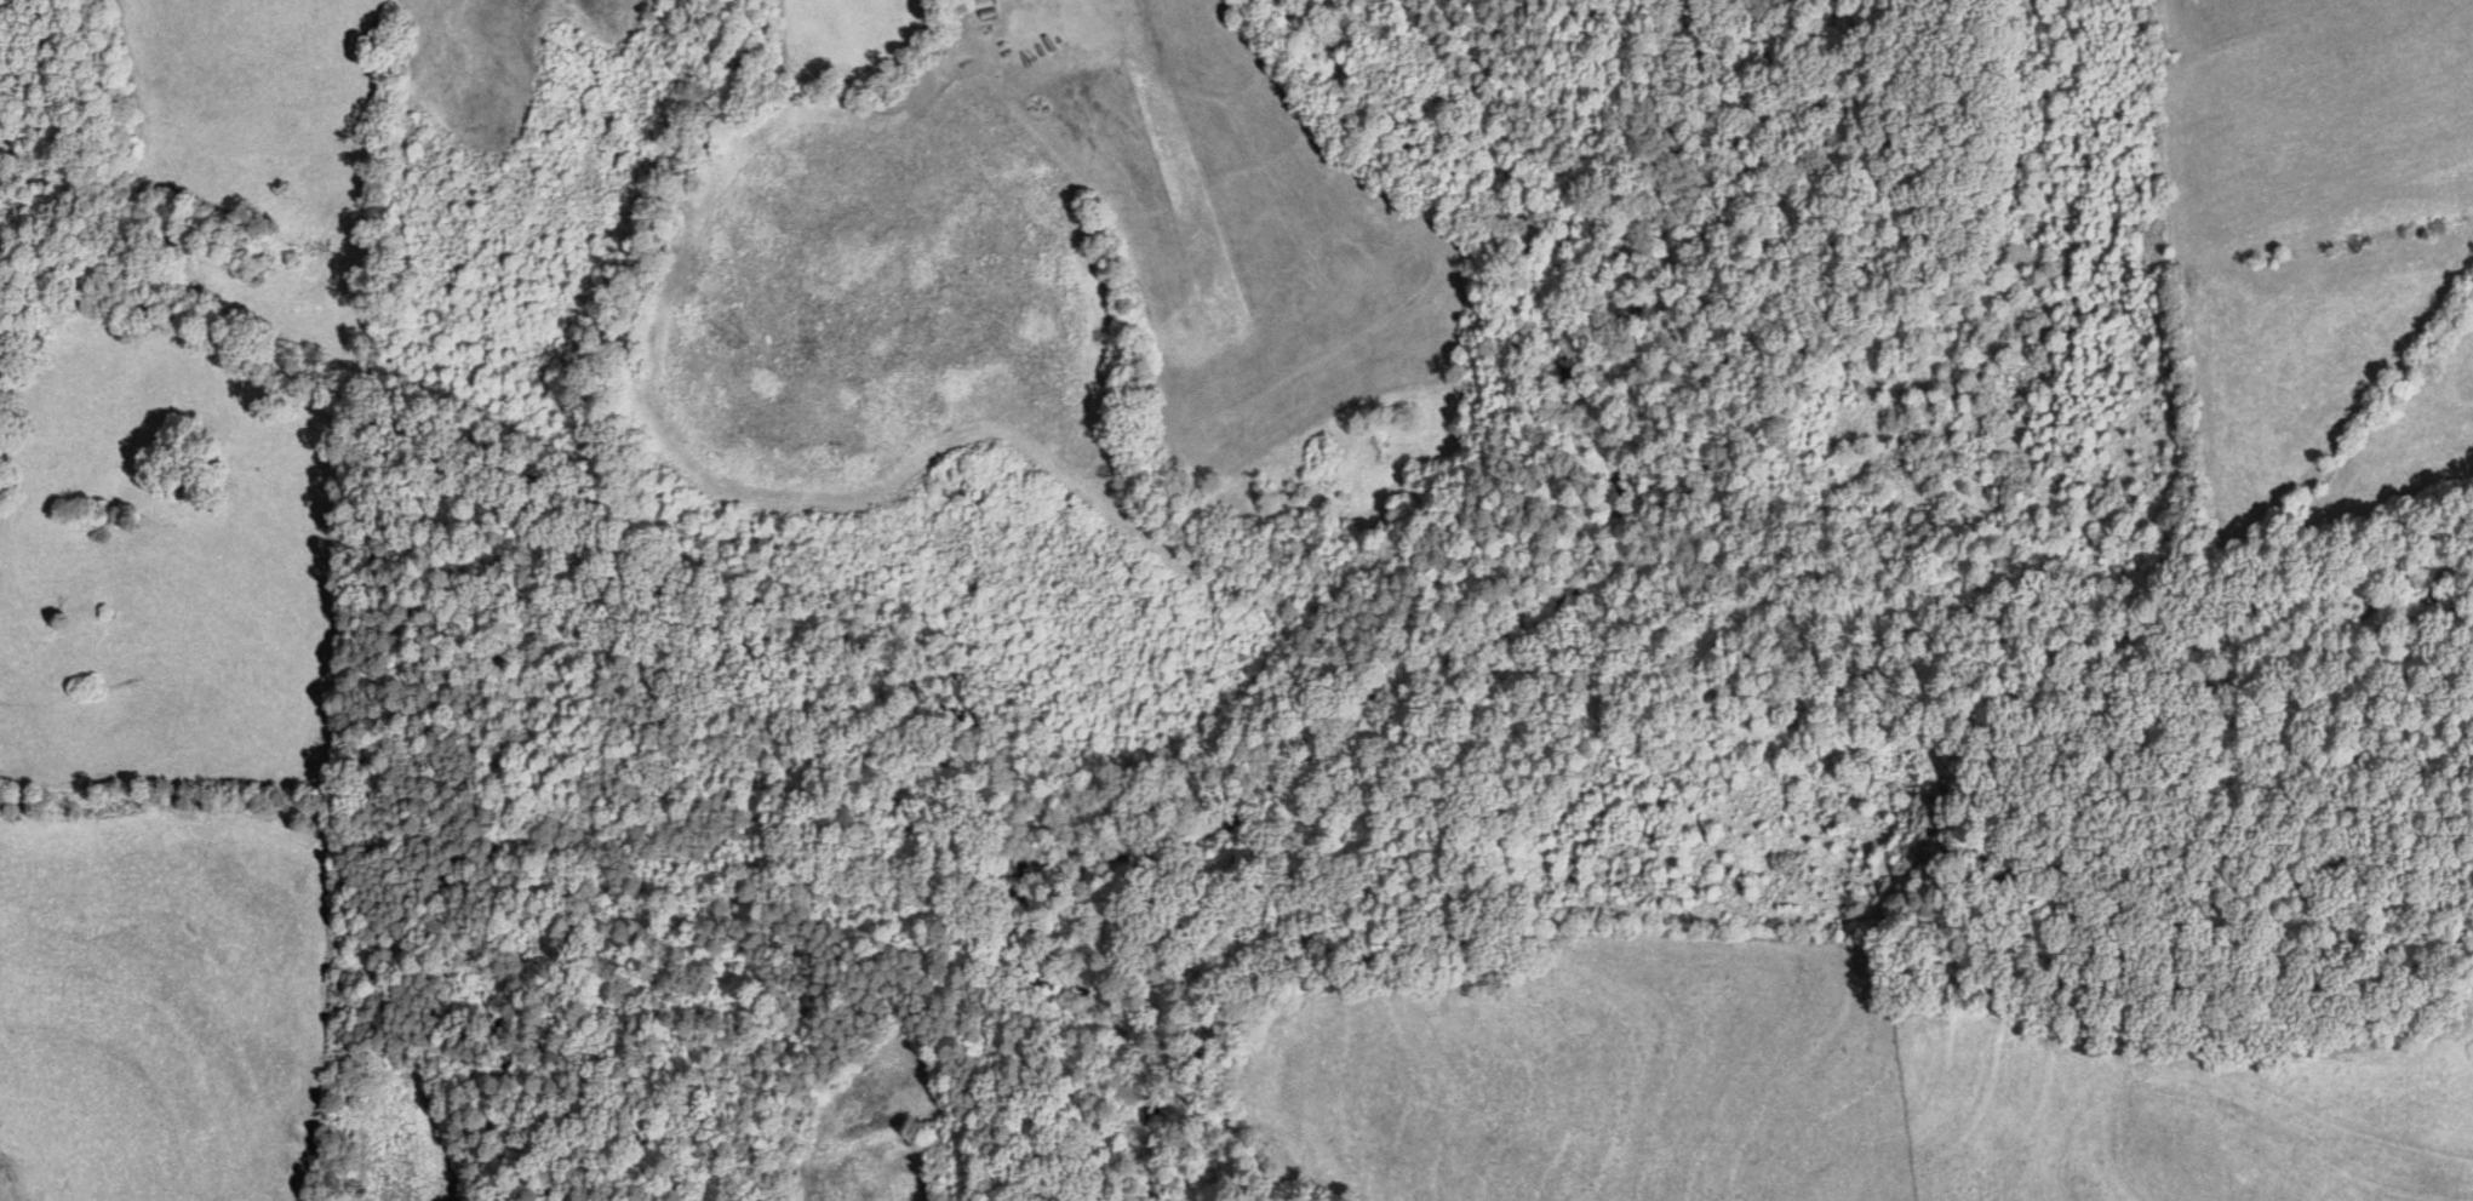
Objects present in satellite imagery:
building: (973, 0)
airport runway: (1172, 158)

